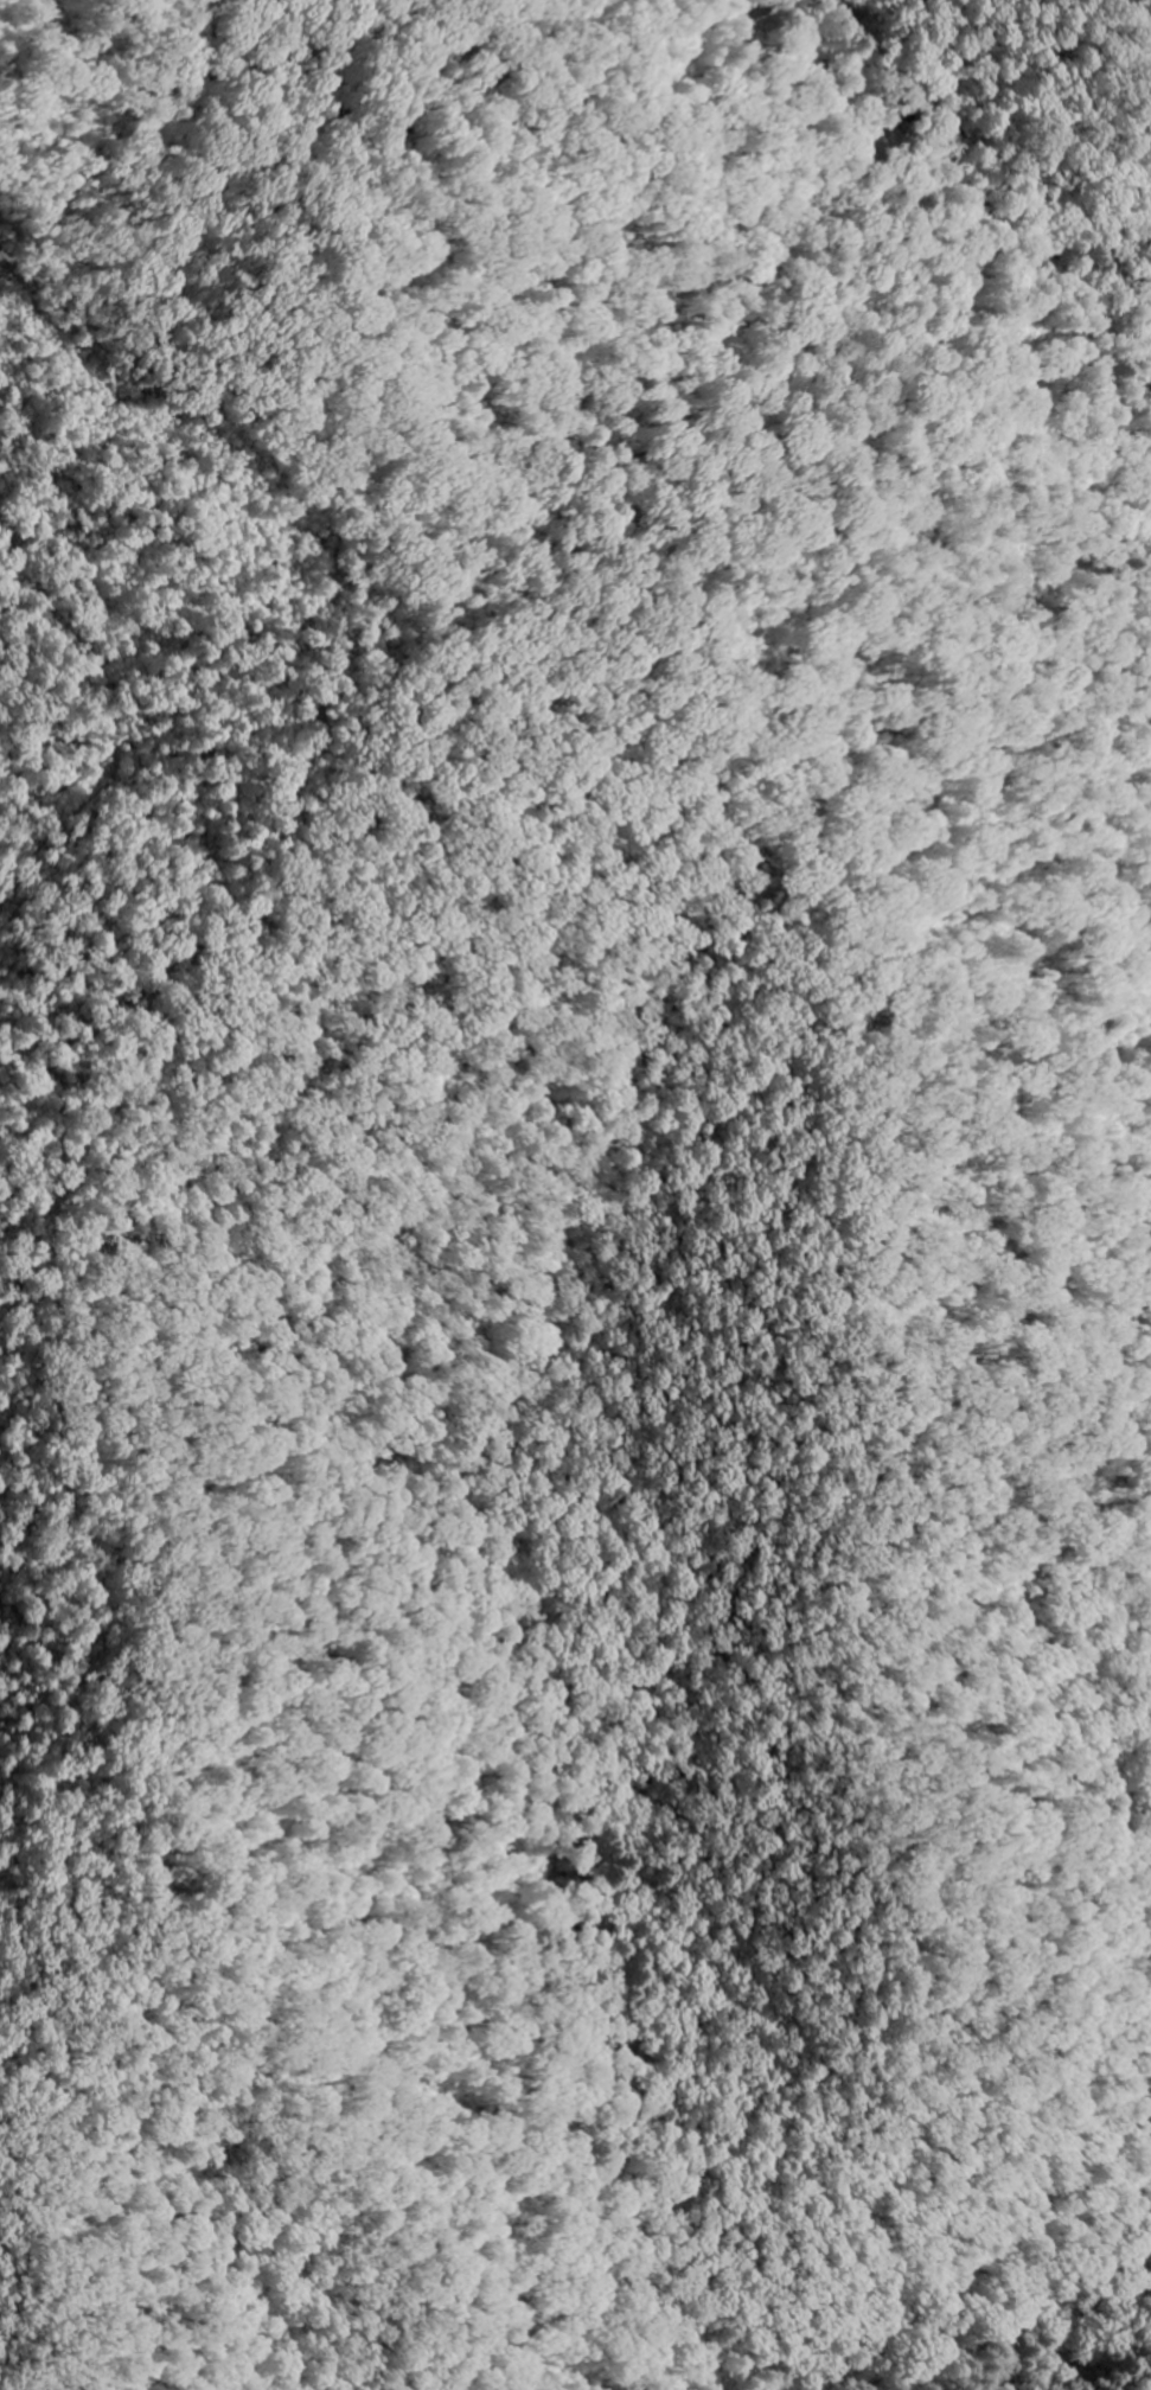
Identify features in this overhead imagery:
road: (974, 254)
road: (1037, 2303)

